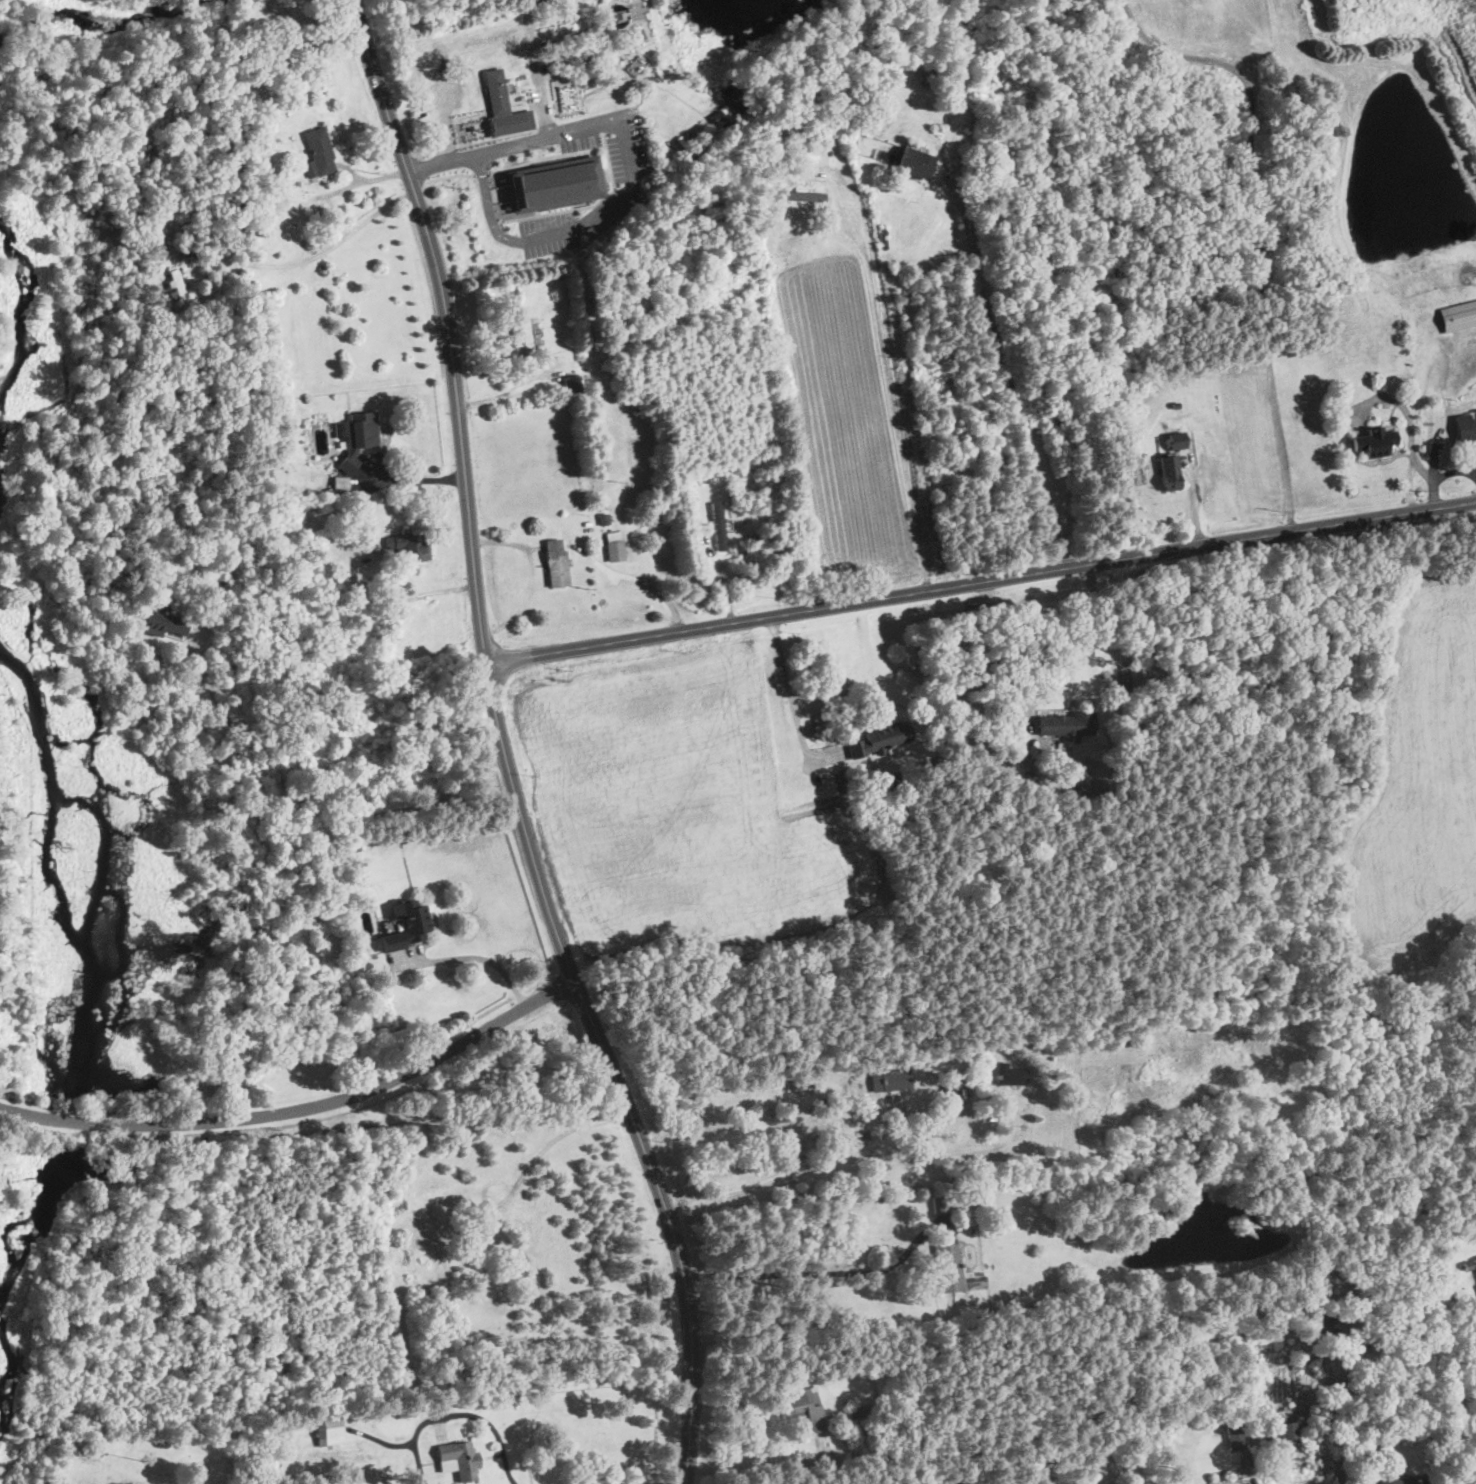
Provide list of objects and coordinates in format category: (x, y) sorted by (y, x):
building: (619, 15)
building: (639, 34)
building: (636, 66)
building: (930, 76)
building: (733, 97)
building: (568, 99)
building: (504, 108)
building: (717, 117)
building: (828, 135)
road: (626, 143)
building: (320, 151)
road: (541, 152)
building: (879, 152)
road: (546, 157)
road: (443, 161)
building: (916, 164)
road: (482, 173)
road: (452, 176)
building: (556, 184)
road: (350, 187)
building: (805, 197)
road: (490, 206)
road: (589, 206)
road: (1262, 226)
building: (263, 230)
building: (883, 233)
building: (185, 248)
road: (315, 254)
building: (1325, 287)
building: (179, 290)
building: (1458, 316)
building: (535, 321)
building: (647, 321)
building: (598, 329)
building: (522, 338)
road: (889, 370)
road: (1011, 384)
building: (573, 385)
road: (504, 394)
building: (1177, 405)
building: (1473, 429)
building: (356, 437)
building: (1178, 440)
building: (1374, 443)
building: (1171, 472)
building: (708, 476)
road: (413, 478)
building: (341, 485)
building: (602, 519)
building: (720, 527)
building: (758, 537)
building: (410, 547)
building: (615, 547)
building: (308, 550)
building: (556, 564)
building: (223, 569)
road: (643, 581)
road: (980, 582)
road: (415, 596)
building: (160, 623)
road: (1062, 654)
road: (790, 687)
building: (1069, 724)
building: (880, 739)
road: (502, 749)
building: (1027, 777)
building: (897, 781)
road: (322, 810)
building: (348, 847)
building: (407, 926)
road: (478, 957)
building: (1034, 1061)
building: (1445, 1072)
building: (1012, 1077)
building: (892, 1080)
building: (797, 1084)
building: (947, 1090)
road: (301, 1107)
road: (846, 1162)
building: (1464, 1178)
building: (940, 1204)
building: (1141, 1234)
building: (1475, 1261)
building: (1468, 1266)
building: (953, 1271)
road: (818, 1275)
building: (358, 1294)
building: (770, 1310)
building: (1325, 1326)
building: (803, 1407)
building: (858, 1413)
road: (458, 1415)
building: (1382, 1419)
building: (1315, 1422)
building: (330, 1428)
building: (1288, 1431)
building: (1269, 1433)
building: (1236, 1436)
building: (1268, 1446)
building: (458, 1460)
building: (1100, 1460)
building: (1267, 1461)
building: (1245, 1466)
building: (1050, 1473)
building: (1097, 1475)
building: (1401, 1481)

